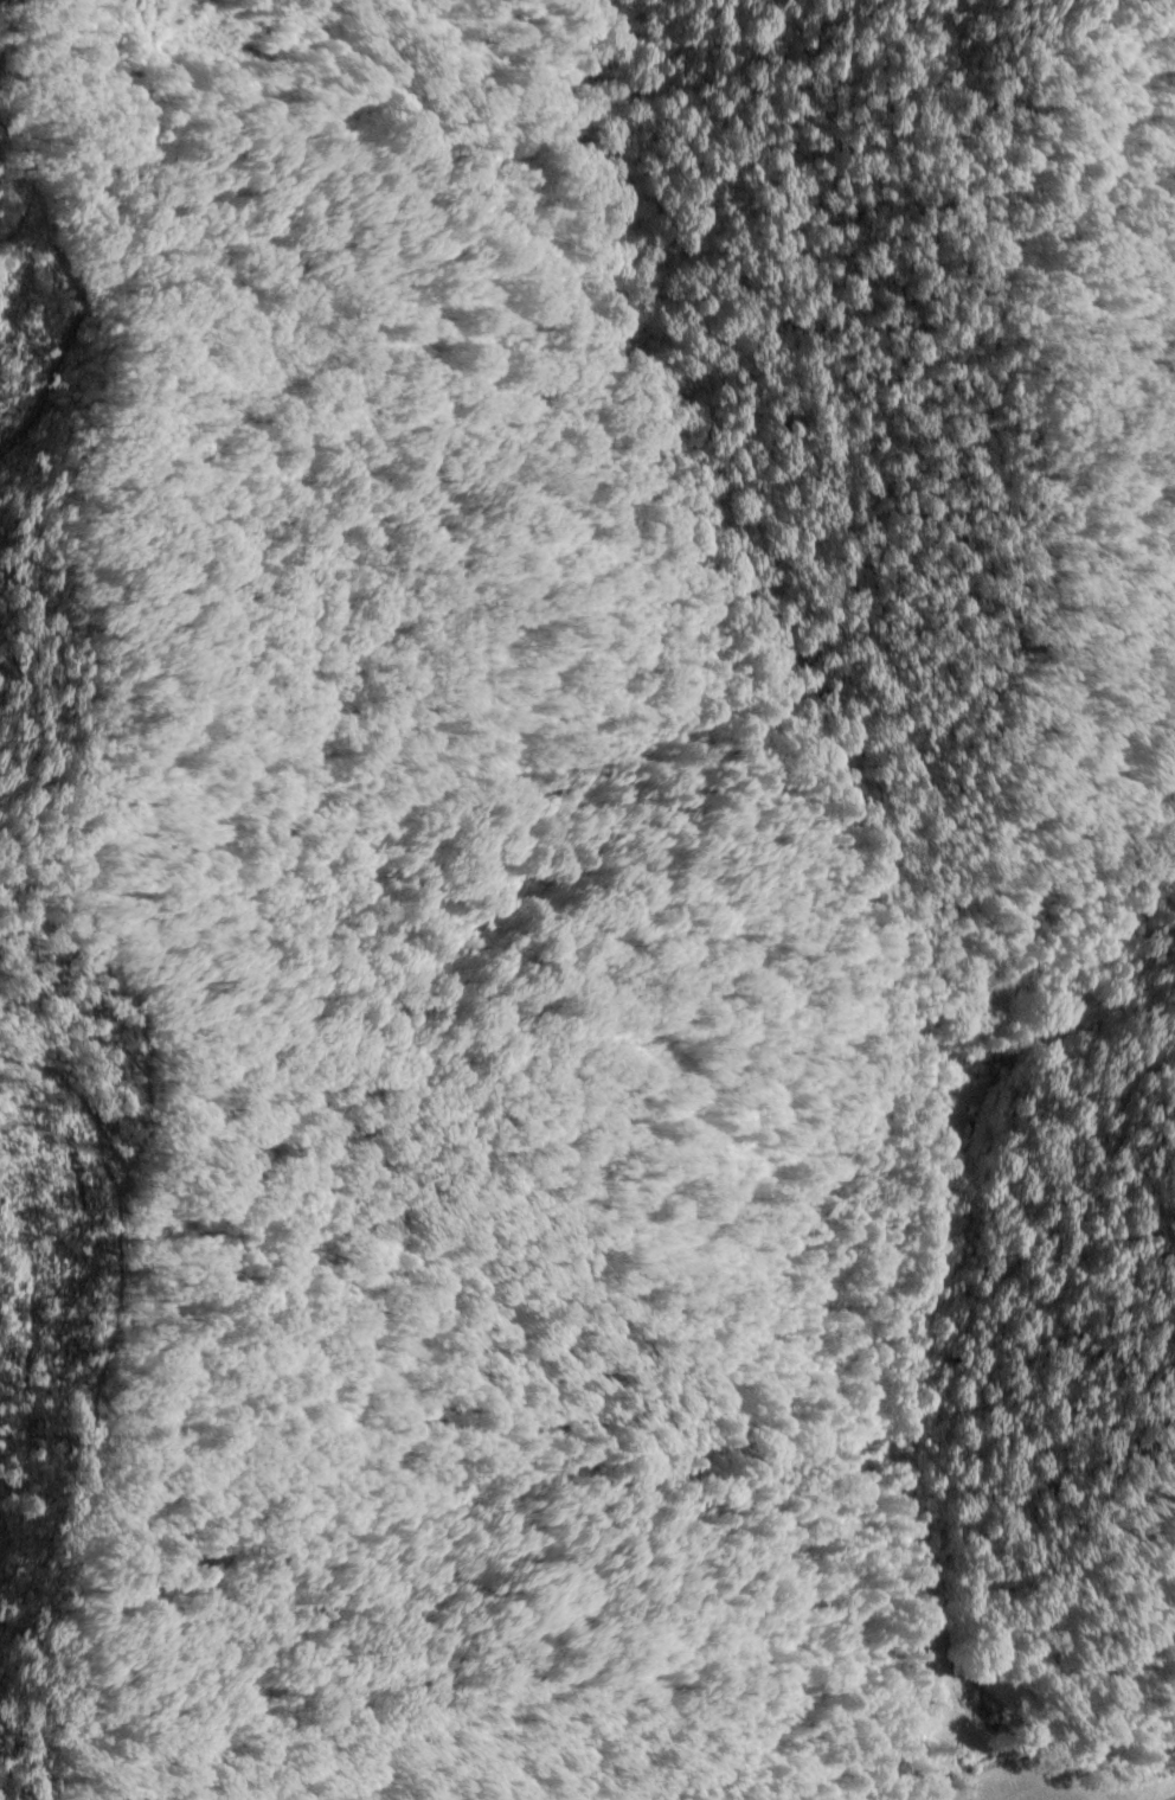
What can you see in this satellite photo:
road: (892, 1639)
road: (1135, 1762)

